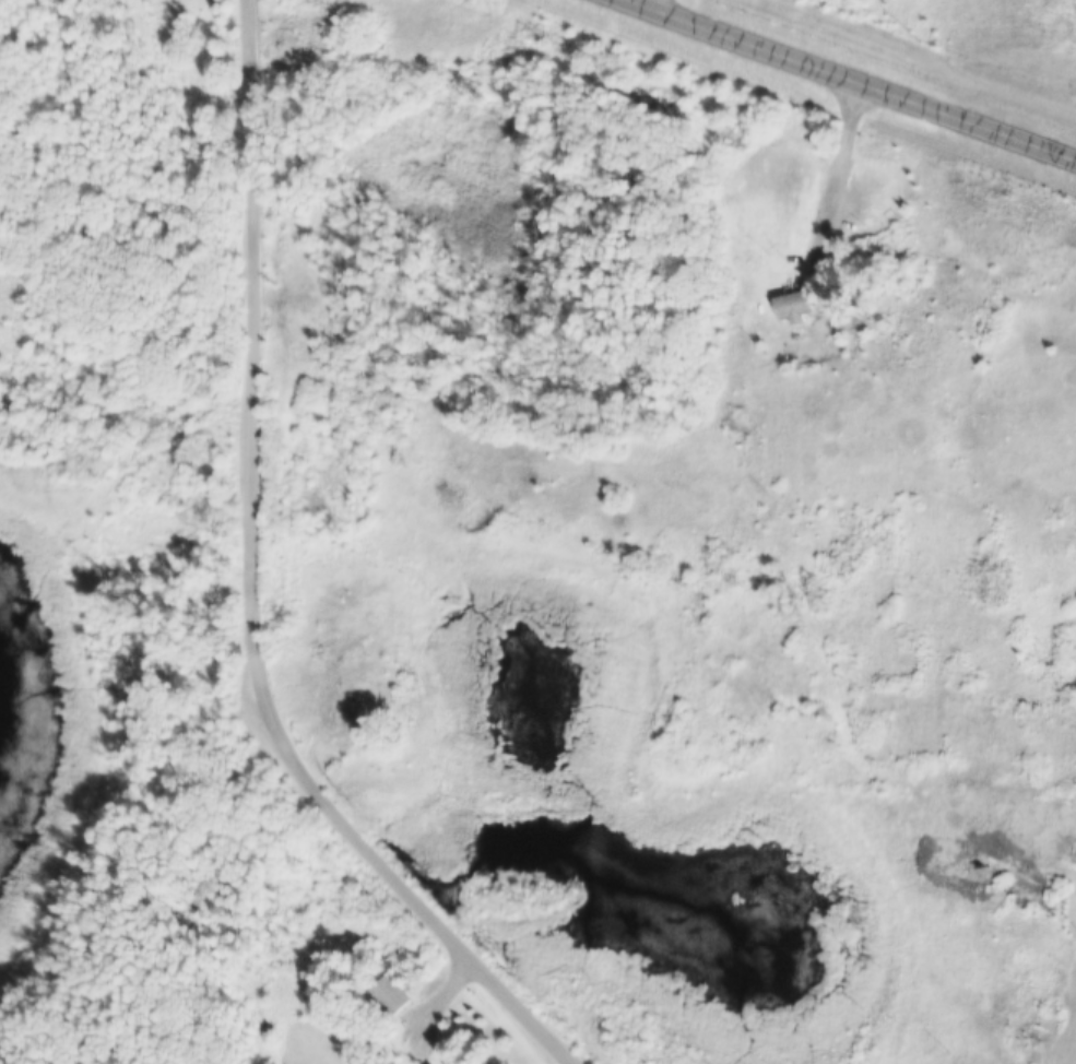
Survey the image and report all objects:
road: (648, 1)
road: (856, 79)
road: (842, 156)
building: (794, 305)
road: (253, 591)
building: (390, 995)
road: (440, 1001)

